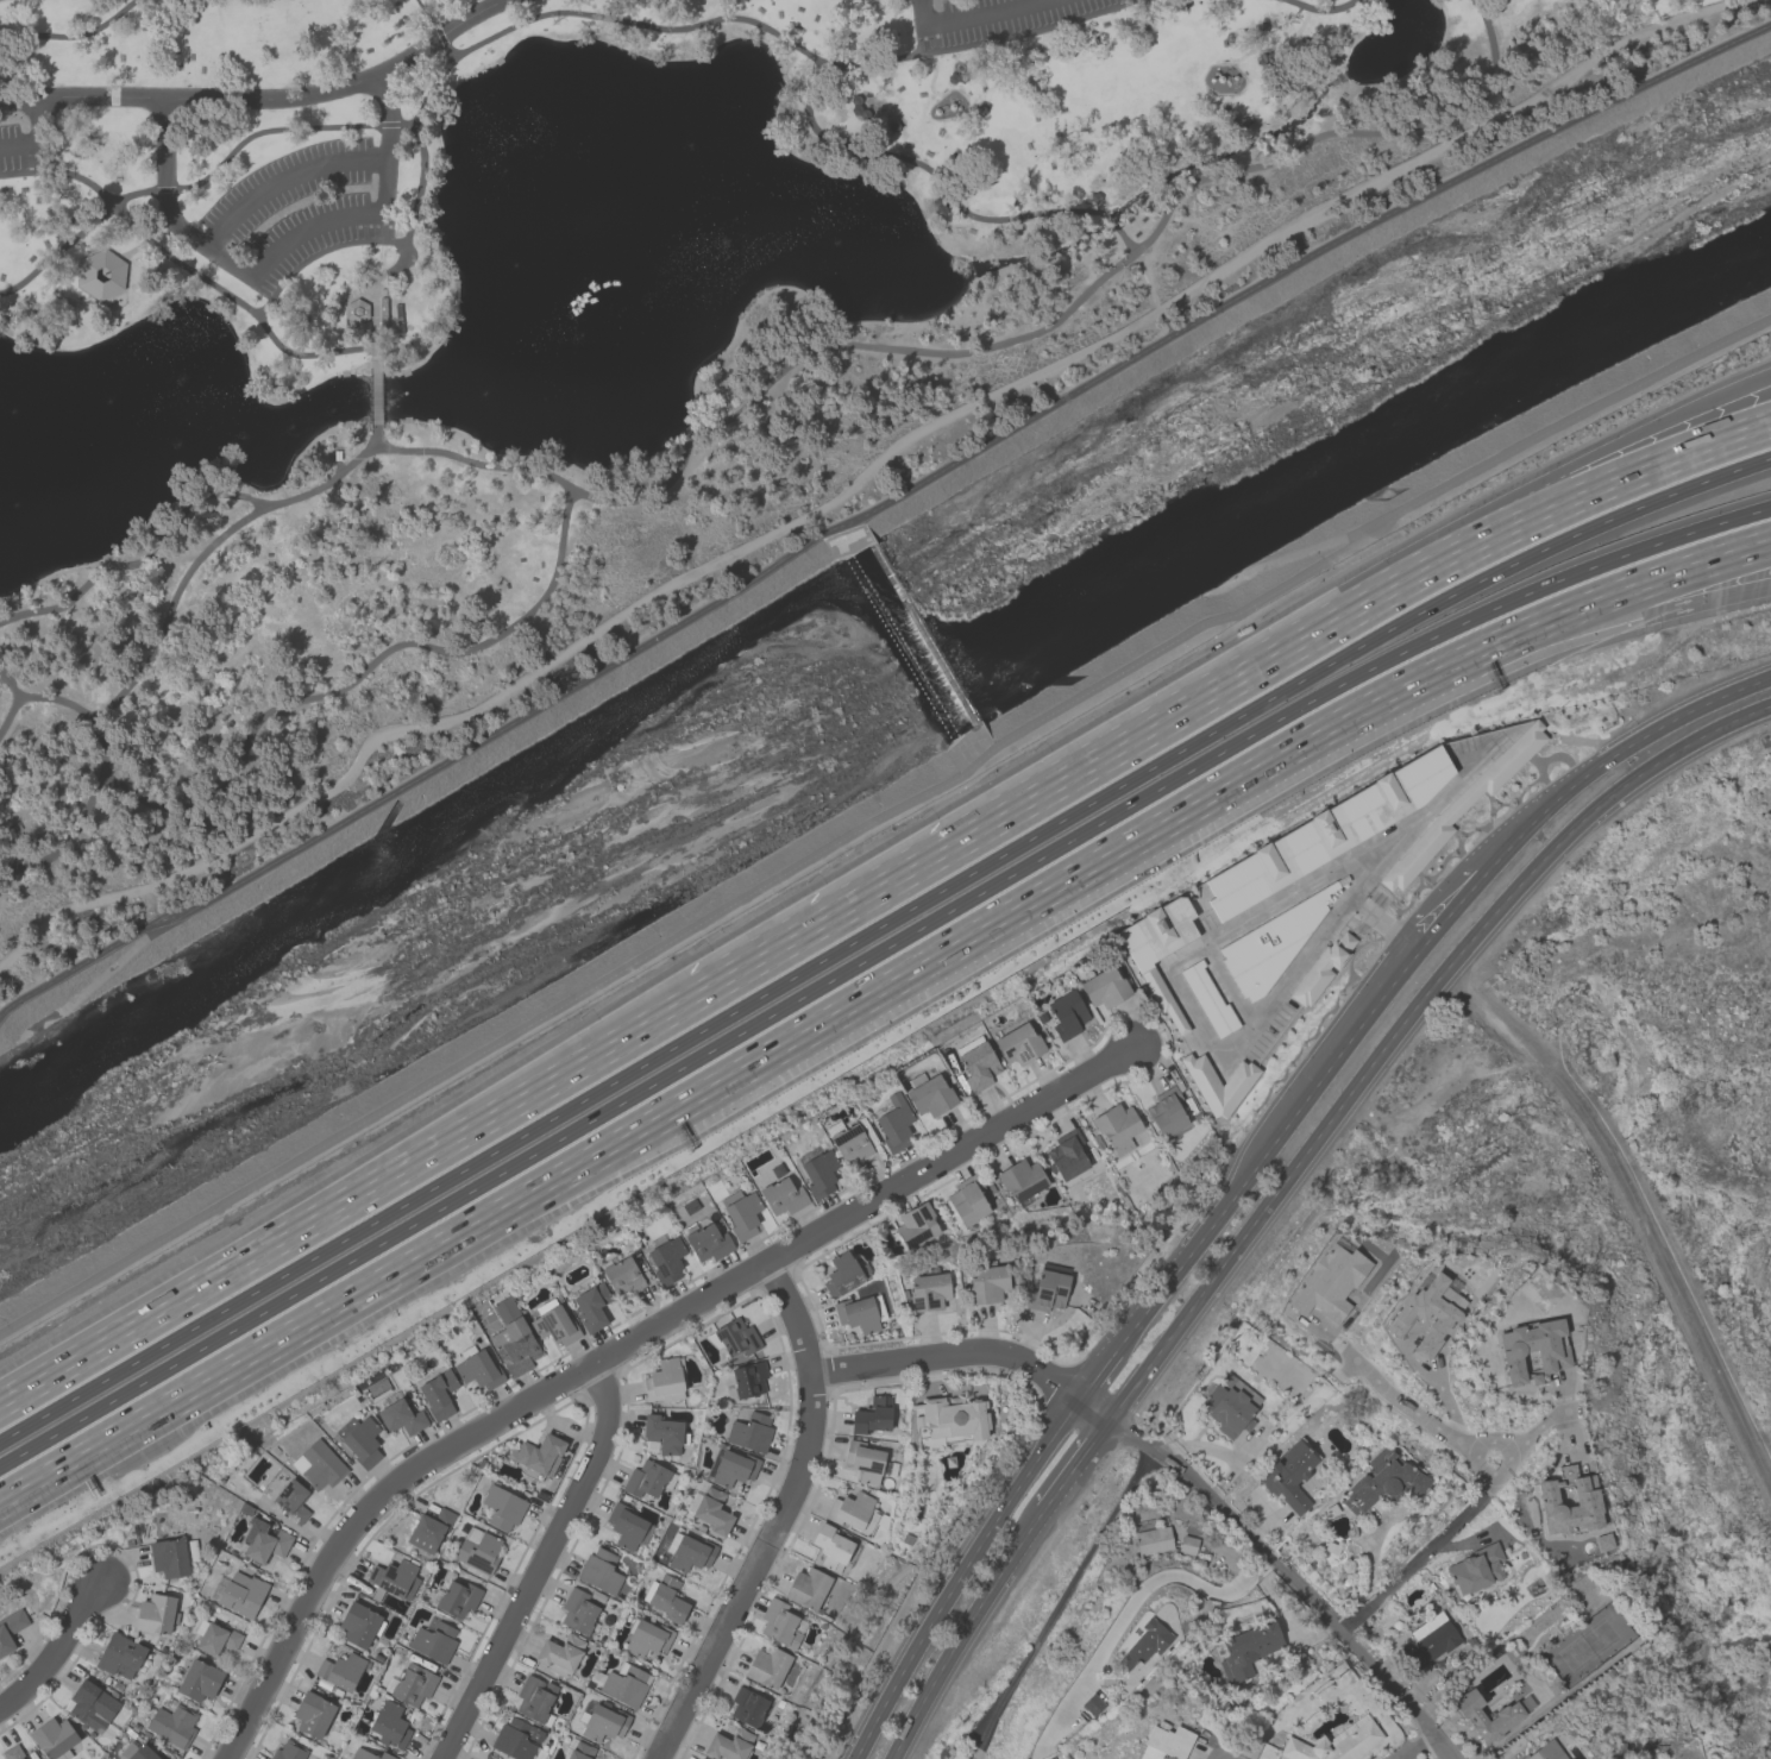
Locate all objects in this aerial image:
road: (504, 0)
road: (1319, 10)
road: (975, 19)
road: (639, 24)
road: (435, 29)
road: (74, 34)
road: (265, 100)
road: (256, 133)
road: (32, 140)
road: (385, 144)
road: (284, 182)
road: (1147, 197)
road: (167, 209)
road: (308, 228)
road: (1117, 230)
road: (62, 250)
road: (133, 250)
road: (318, 251)
river: (1646, 270)
road: (195, 275)
road: (123, 289)
road: (1150, 294)
building: (356, 312)
park: (588, 334)
road: (886, 344)
road: (376, 400)
road: (860, 477)
road: (877, 508)
road: (182, 511)
road: (1432, 546)
road: (1690, 564)
road: (1436, 579)
road: (174, 599)
road: (459, 654)
road: (1497, 666)
road: (15, 703)
river: (760, 747)
road: (1613, 756)
road: (101, 780)
road: (883, 817)
building: (1326, 833)
road: (911, 879)
road: (1442, 906)
road: (1338, 915)
road: (1381, 922)
road: (871, 926)
building: (1270, 943)
building: (1157, 948)
road: (869, 955)
building: (1104, 987)
building: (1208, 998)
building: (1066, 1013)
road: (1398, 1022)
road: (798, 1036)
building: (1018, 1043)
building: (976, 1063)
building: (1217, 1082)
building: (928, 1093)
building: (1166, 1112)
building: (893, 1123)
building: (1117, 1126)
building: (848, 1141)
road: (1257, 1144)
building: (1066, 1154)
building: (819, 1174)
building: (1020, 1179)
building: (783, 1195)
building: (967, 1200)
road: (353, 1204)
road: (1634, 1204)
building: (740, 1212)
park: (1628, 1213)
building: (916, 1225)
building: (706, 1242)
building: (665, 1257)
building: (843, 1273)
building: (621, 1275)
building: (986, 1282)
building: (1329, 1282)
building: (1047, 1290)
building: (928, 1292)
building: (591, 1306)
building: (860, 1313)
building: (1427, 1313)
building: (553, 1323)
building: (734, 1333)
building: (513, 1339)
road: (627, 1346)
building: (1532, 1347)
road: (968, 1355)
building: (477, 1368)
road: (1089, 1370)
building: (748, 1378)
building: (664, 1381)
building: (438, 1394)
road: (1446, 1399)
building: (1229, 1405)
road: (1414, 1413)
building: (400, 1414)
building: (872, 1414)
building: (948, 1420)
road: (1540, 1425)
building: (749, 1432)
building: (662, 1433)
road: (1564, 1433)
building: (359, 1439)
building: (538, 1456)
building: (863, 1460)
building: (318, 1464)
road: (1072, 1466)
building: (733, 1468)
building: (1289, 1474)
building: (648, 1478)
building: (1382, 1481)
building: (291, 1500)
building: (1583, 1504)
building: (502, 1507)
building: (711, 1510)
building: (854, 1513)
road: (783, 1519)
building: (624, 1525)
building: (428, 1529)
building: (1153, 1539)
building: (264, 1541)
building: (1187, 1544)
building: (830, 1547)
road: (1427, 1547)
building: (477, 1550)
building: (687, 1552)
building: (172, 1556)
road: (544, 1564)
building: (1475, 1569)
building: (599, 1571)
road: (954, 1572)
road: (1289, 1576)
building: (392, 1579)
road: (1153, 1579)
building: (806, 1588)
building: (241, 1594)
building: (454, 1597)
building: (665, 1597)
road: (1059, 1601)
building: (577, 1610)
building: (155, 1613)
building: (359, 1623)
building: (780, 1623)
building: (10, 1628)
road: (965, 1633)
building: (646, 1637)
building: (216, 1638)
building: (1430, 1639)
building: (433, 1640)
building: (1144, 1642)
road: (57, 1648)
building: (1246, 1648)
building: (559, 1653)
building: (119, 1656)
building: (766, 1666)
building: (340, 1670)
building: (199, 1679)
building: (622, 1683)
building: (413, 1684)
building: (534, 1698)
building: (1092, 1704)
building: (747, 1705)
building: (92, 1707)
building: (312, 1713)
building: (1507, 1716)
building: (601, 1720)
building: (172, 1723)
building: (389, 1723)
building: (54, 1739)
building: (515, 1739)
building: (1164, 1741)
building: (729, 1745)
building: (1332, 1745)
road: (1411, 1745)
building: (577, 1749)
building: (288, 1751)
building: (1545, 1751)
building: (12, 1752)
building: (137, 1752)
building: (368, 1754)
road: (968, 1757)
road: (1217, 1757)
building: (483, 1758)
building: (701, 1758)

